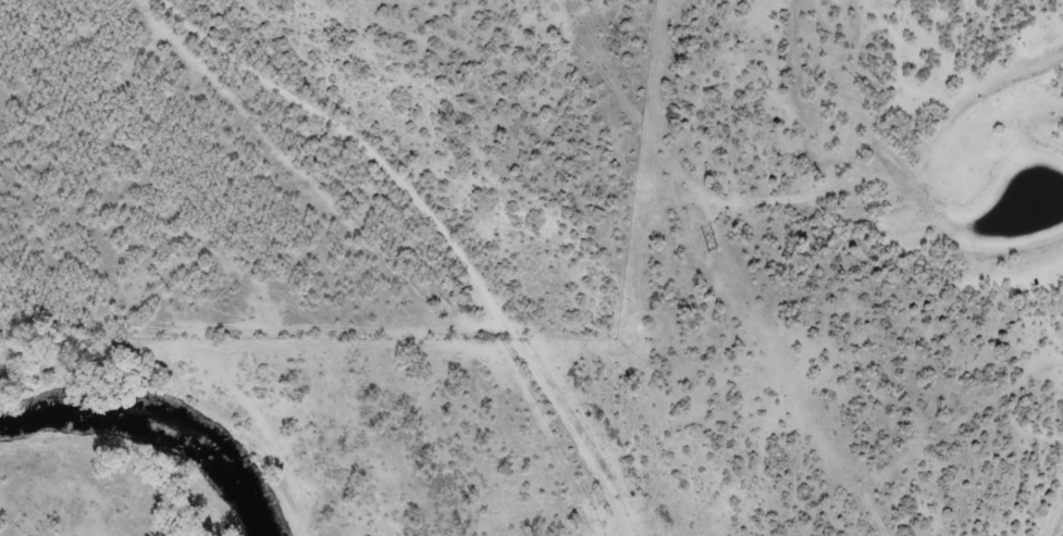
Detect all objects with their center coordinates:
road: (415, 217)
power tower: (715, 249)
road: (1056, 520)

